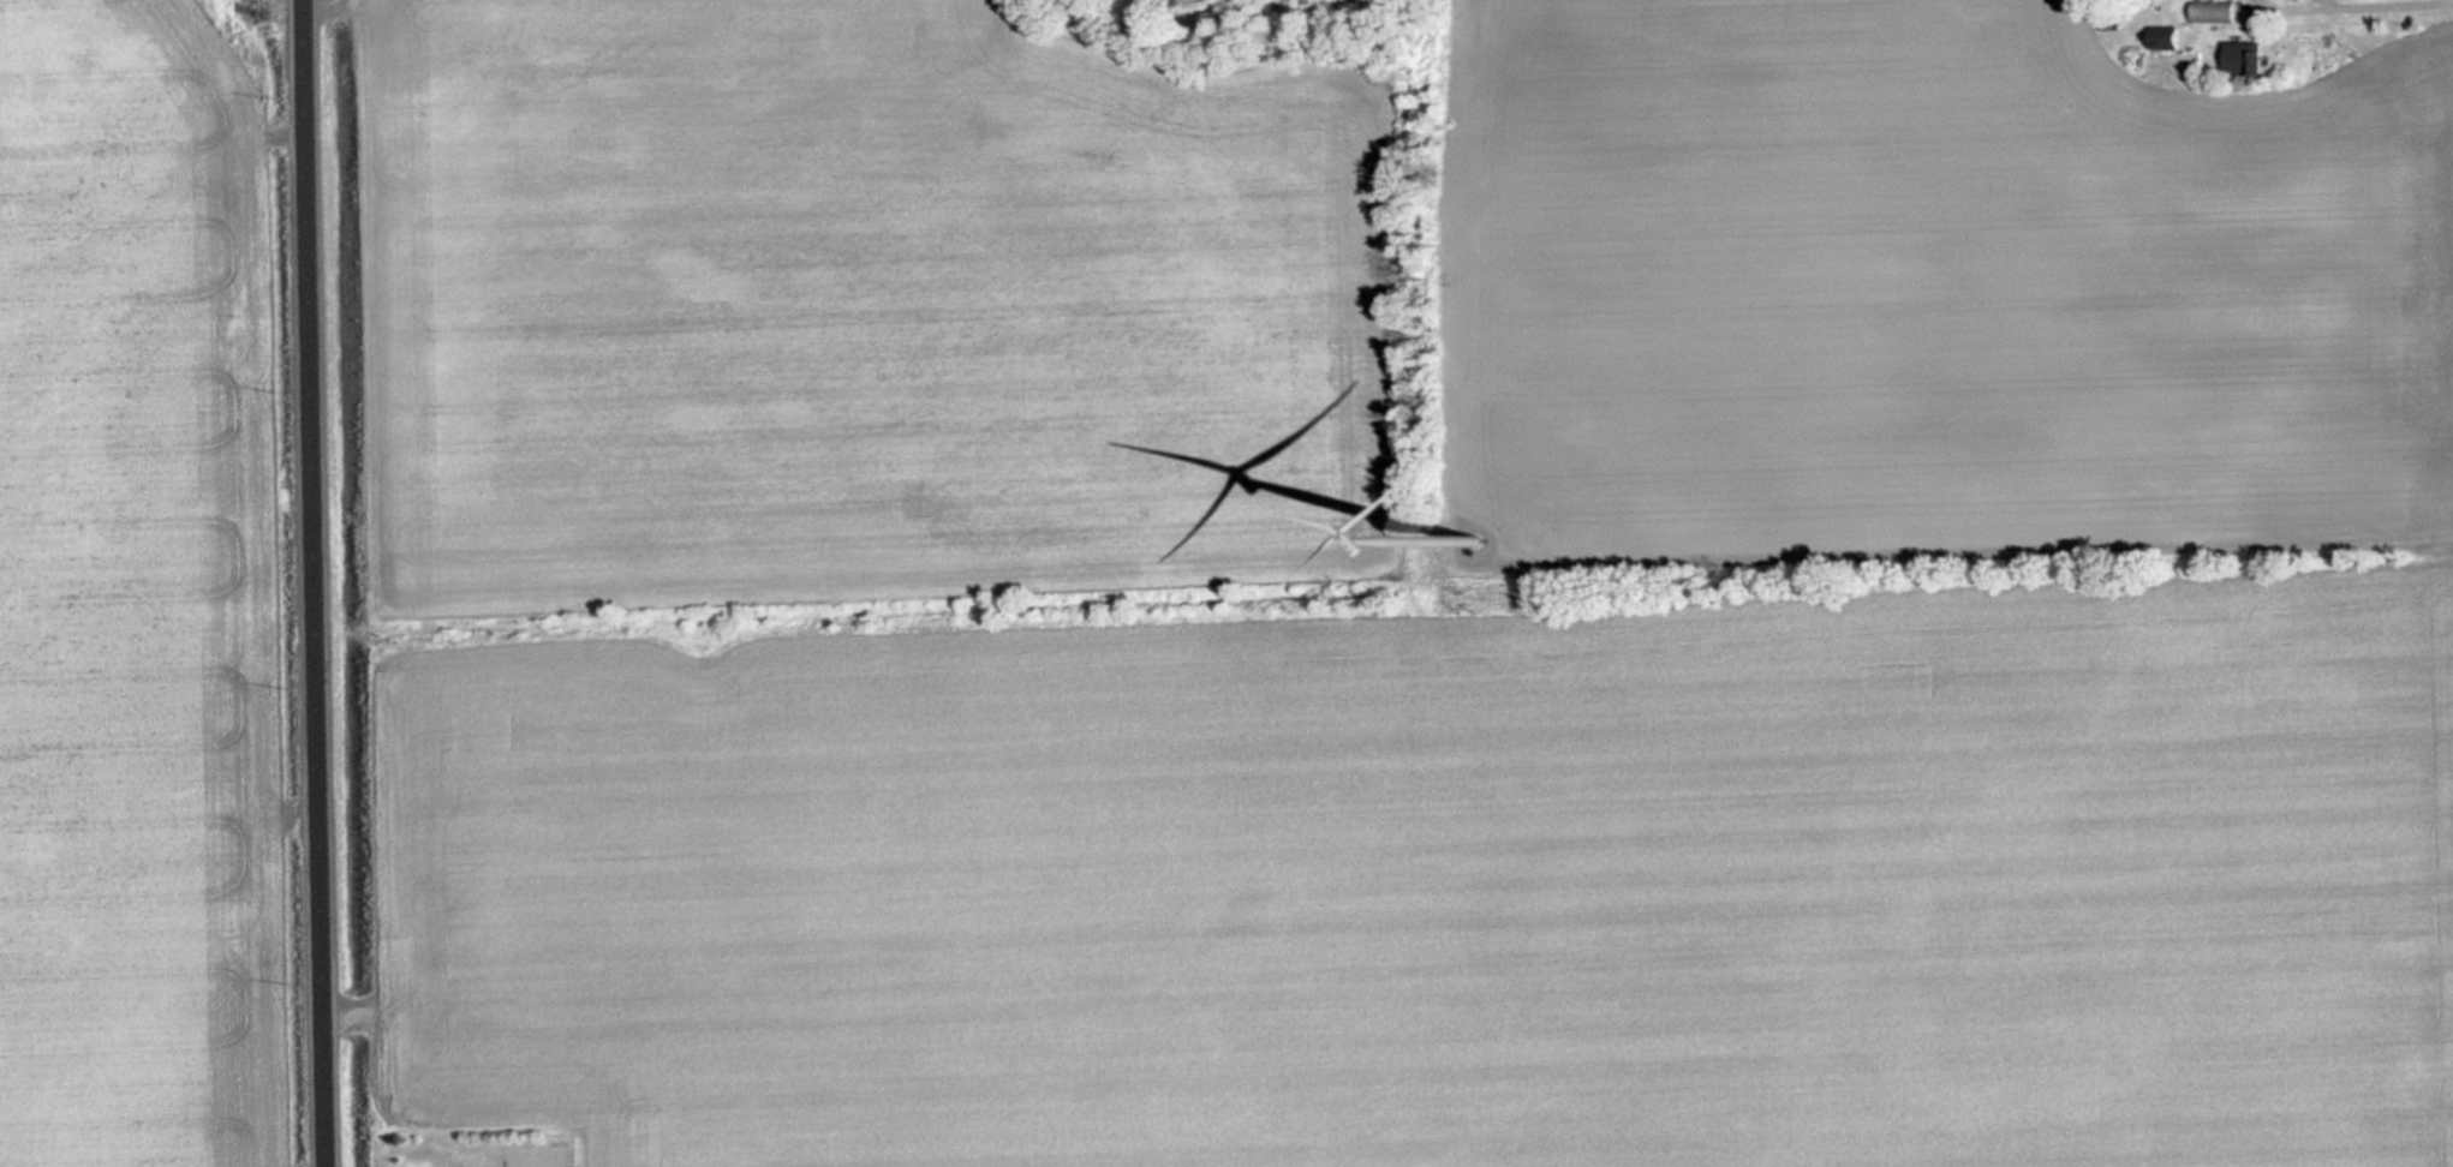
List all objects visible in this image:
building: (2209, 12)
building: (2161, 37)
building: (2238, 58)
wind turbine: (1467, 531)
road: (316, 583)

